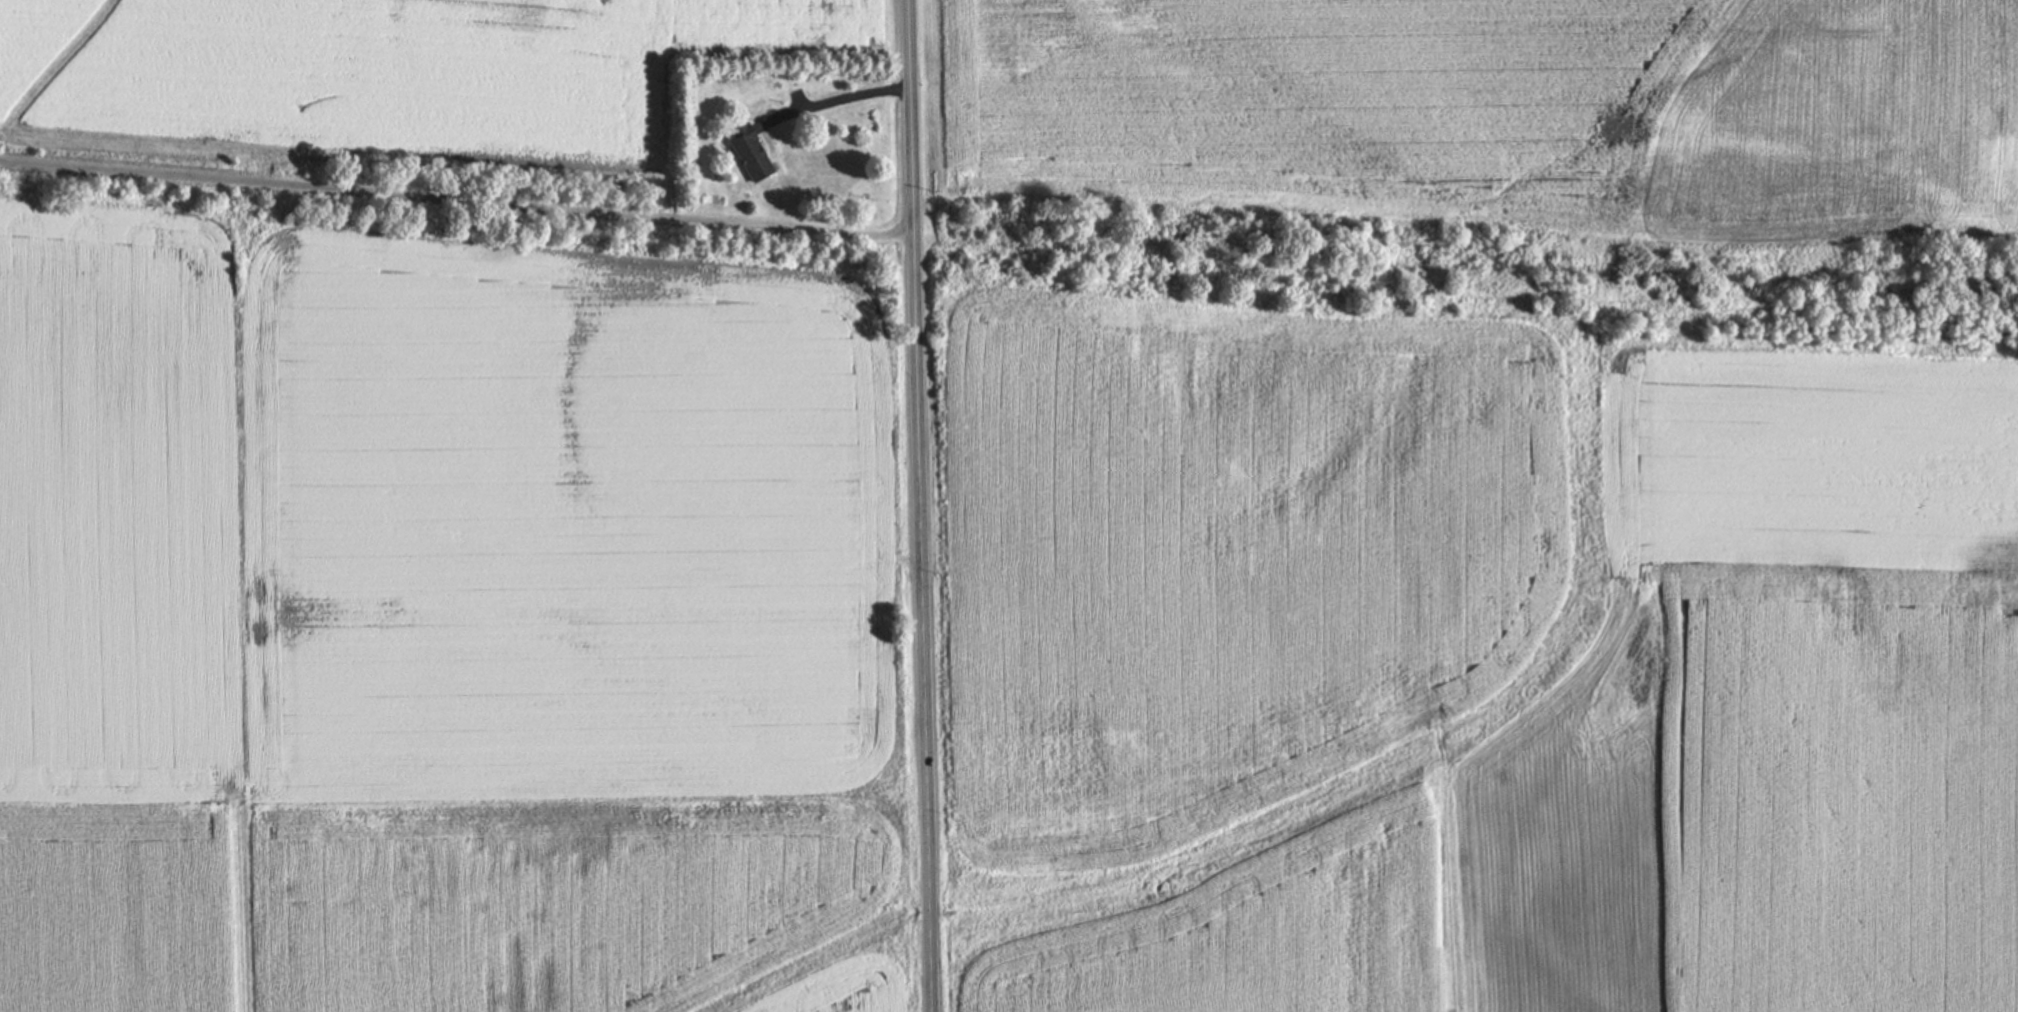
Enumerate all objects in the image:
road: (829, 103)
building: (750, 151)
road: (916, 506)

